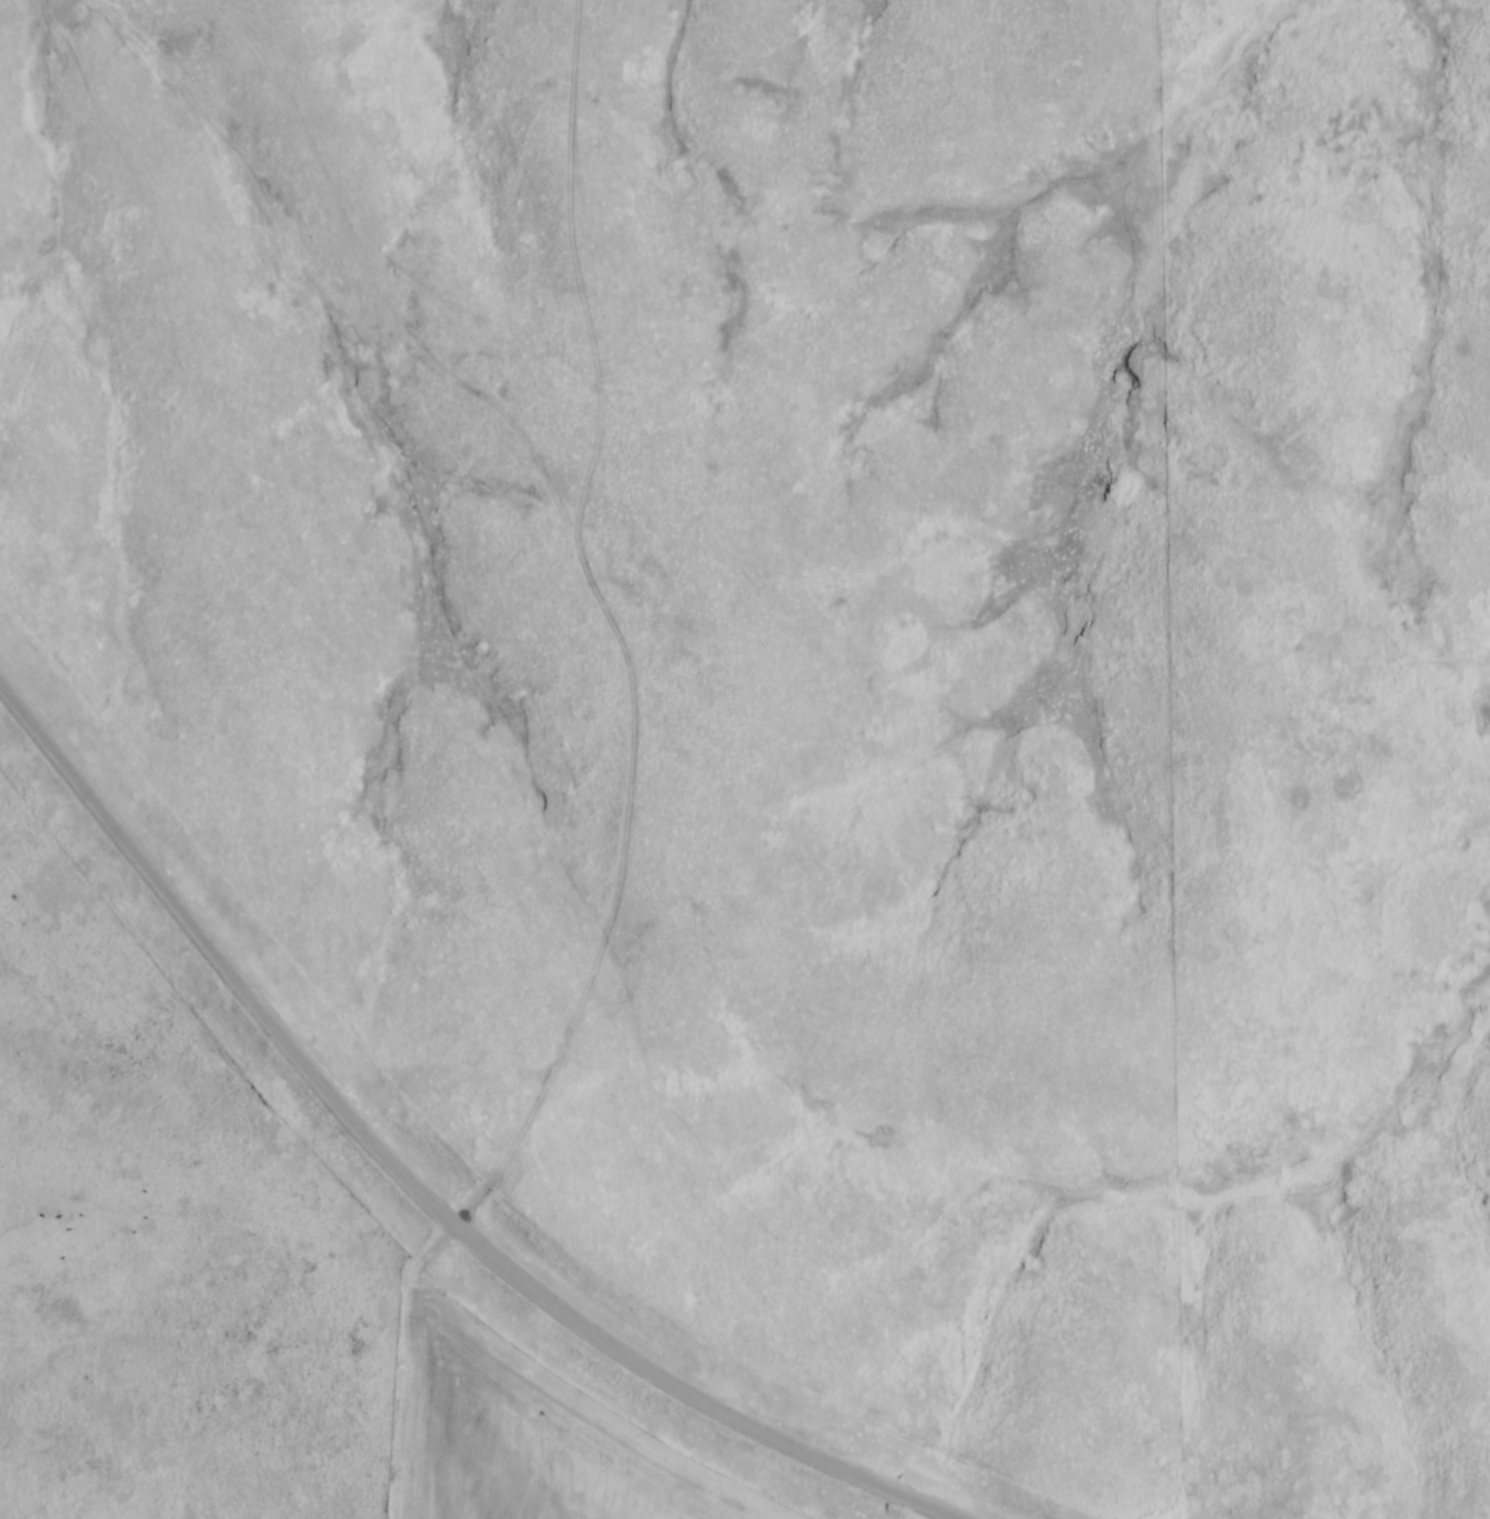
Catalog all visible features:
road: (413, 1185)

